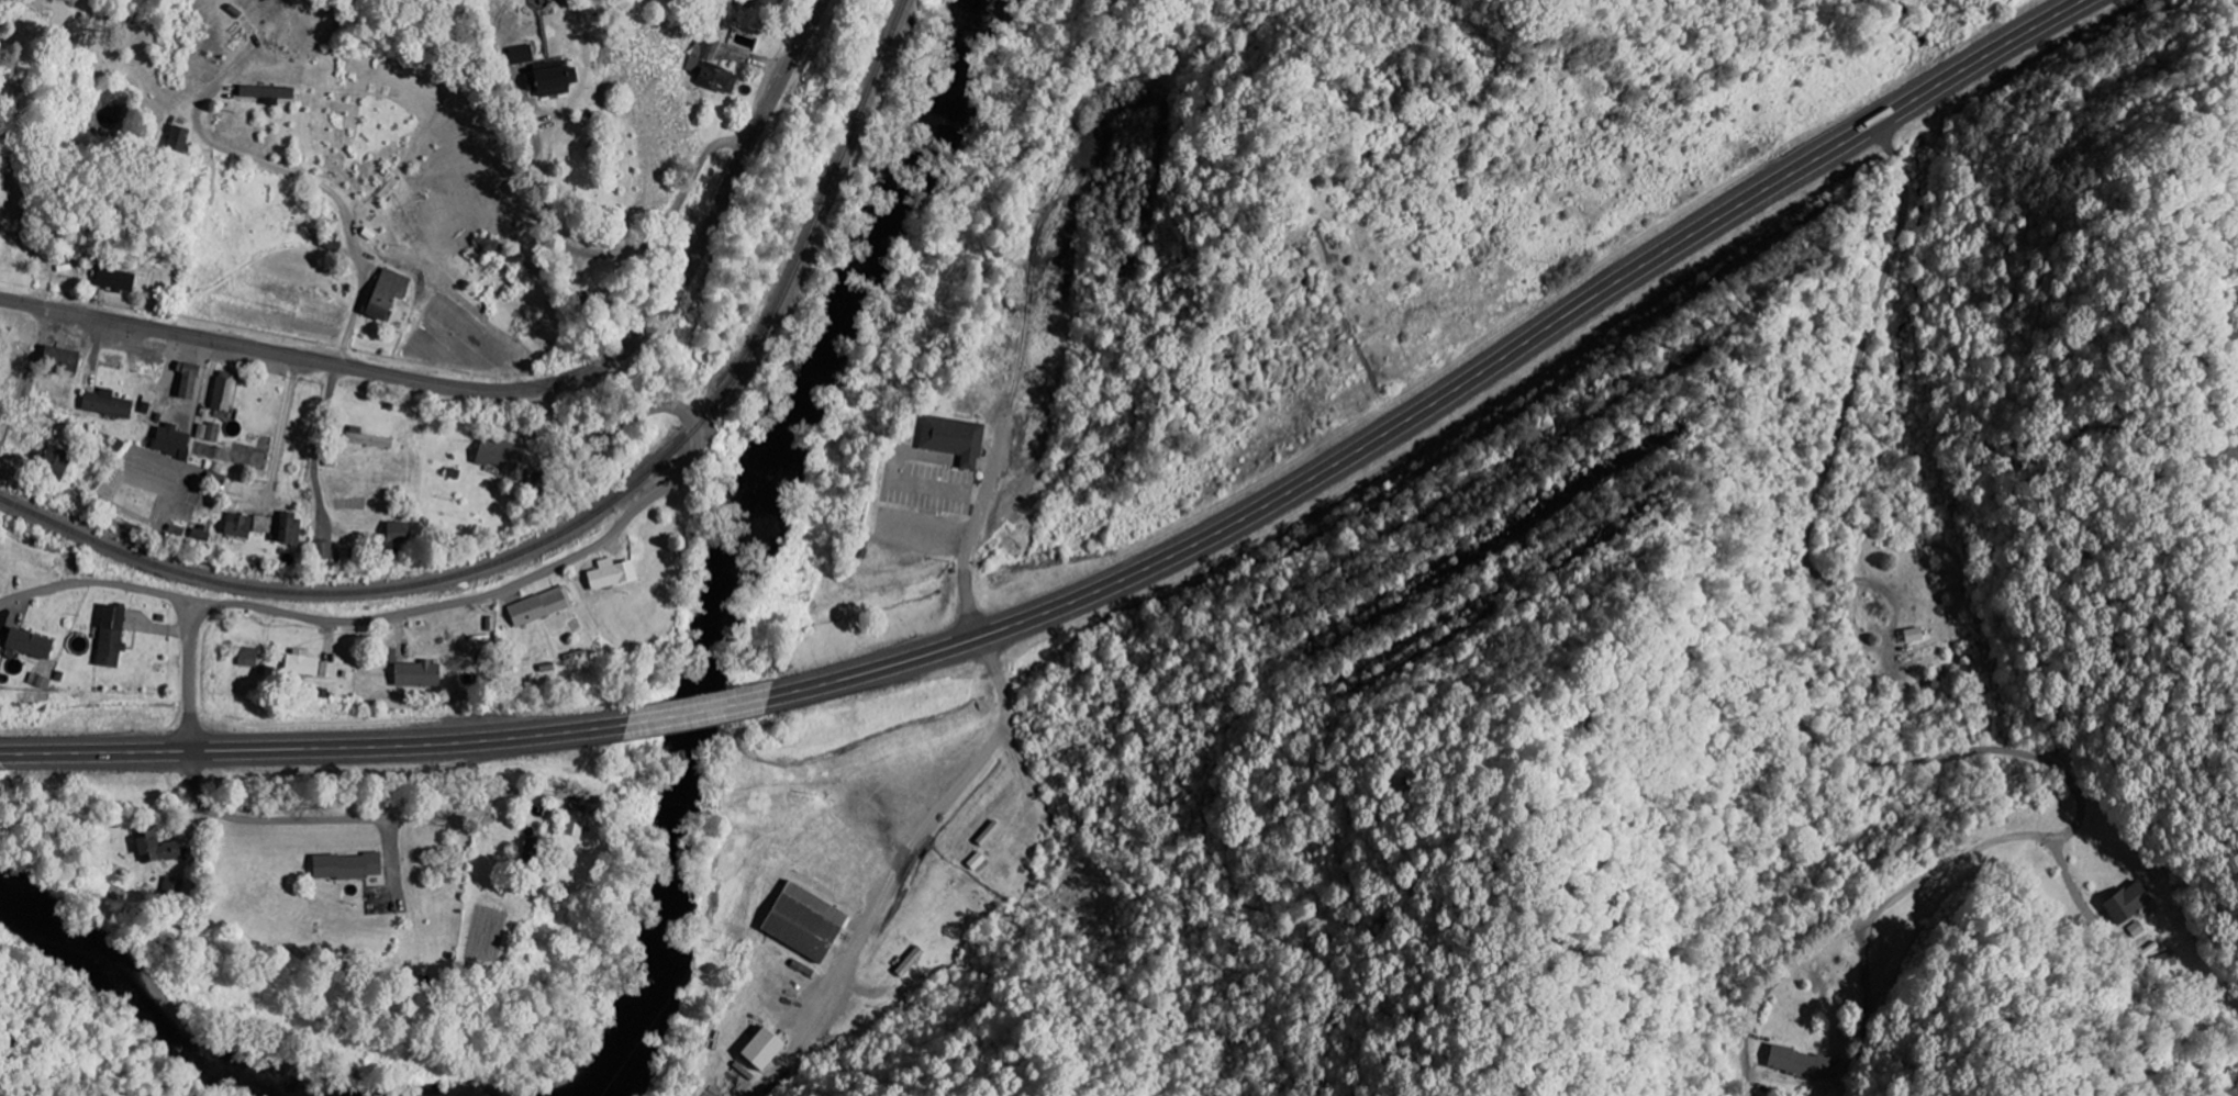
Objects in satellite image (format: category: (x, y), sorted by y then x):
road: (614, 37)
building: (520, 54)
building: (713, 70)
building: (550, 80)
building: (271, 93)
building: (181, 138)
building: (116, 280)
building: (389, 294)
building: (65, 359)
building: (191, 379)
road: (515, 389)
building: (226, 393)
road: (1454, 399)
building: (111, 403)
building: (364, 438)
building: (957, 438)
building: (175, 440)
building: (503, 455)
building: (57, 460)
railway: (588, 516)
building: (267, 527)
building: (402, 533)
building: (326, 550)
river: (735, 561)
building: (615, 573)
road: (102, 584)
road: (513, 585)
building: (542, 606)
building: (1909, 635)
building: (114, 636)
building: (33, 644)
building: (250, 657)
building: (311, 664)
building: (422, 674)
building: (40, 680)
road: (699, 712)
road: (313, 747)
road: (1855, 756)
road: (311, 819)
building: (577, 820)
building: (159, 849)
building: (534, 850)
building: (175, 887)
building: (2124, 902)
building: (811, 922)
building: (2165, 961)
river: (153, 994)
building: (770, 1050)
building: (1792, 1062)

